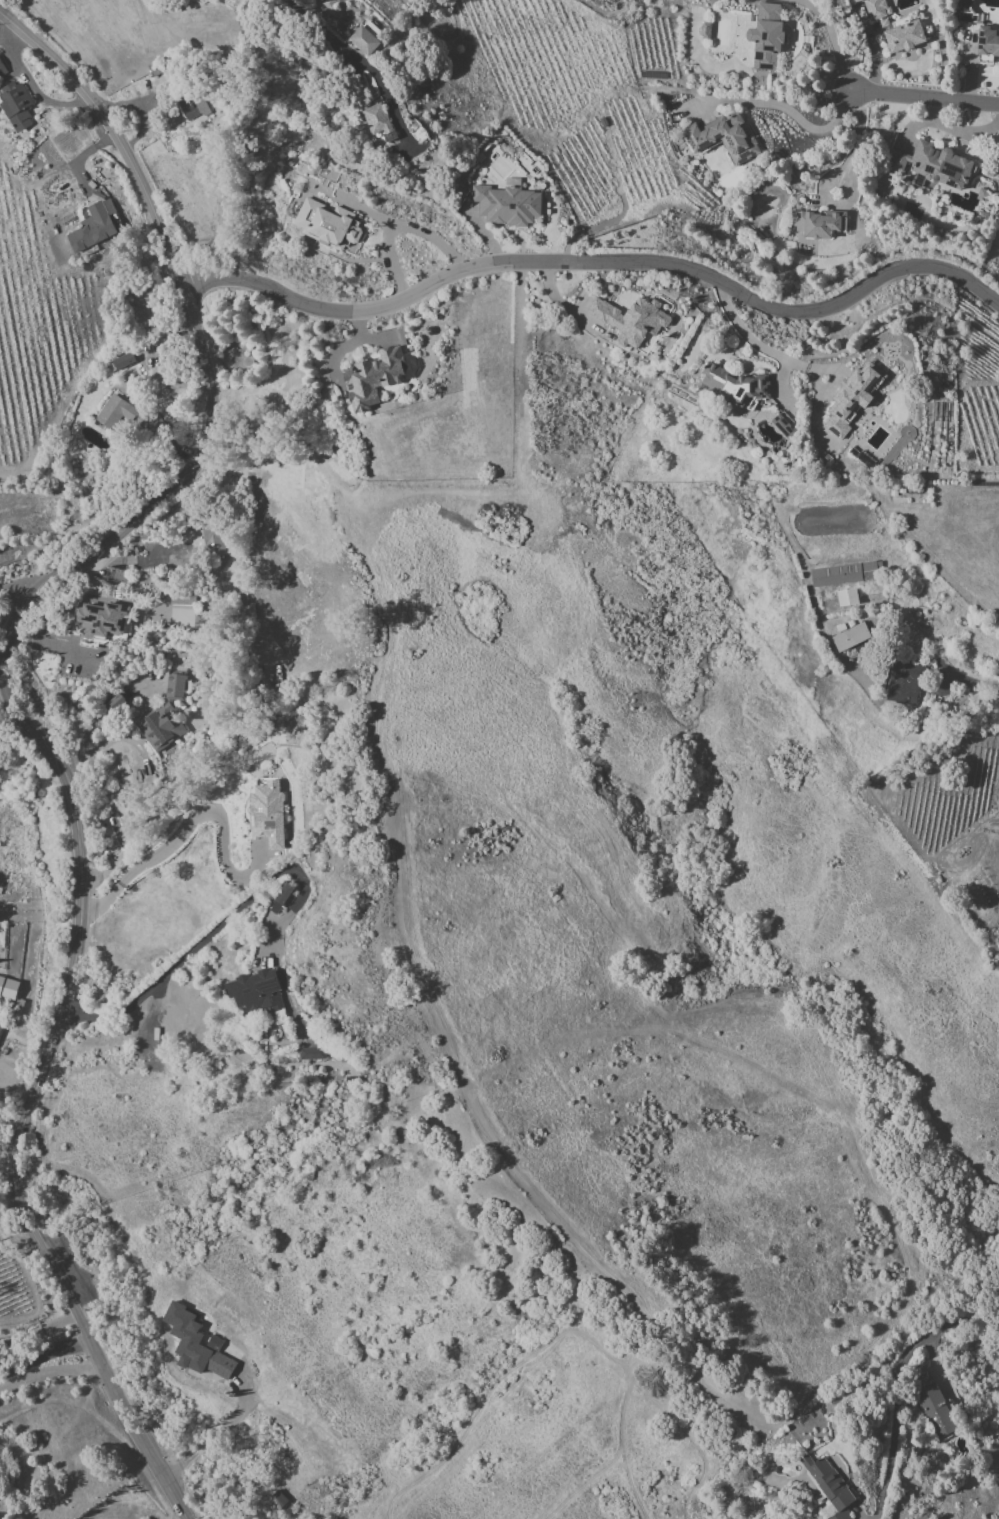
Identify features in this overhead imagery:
building: (872, 8)
road: (419, 29)
building: (980, 31)
building: (766, 35)
building: (904, 36)
building: (364, 40)
road: (340, 42)
road: (873, 55)
road: (969, 69)
road: (30, 83)
road: (925, 101)
building: (15, 107)
building: (193, 107)
road: (931, 112)
building: (376, 119)
road: (833, 120)
road: (946, 127)
building: (726, 139)
road: (851, 148)
building: (933, 165)
building: (506, 205)
road: (365, 212)
building: (326, 223)
building: (822, 223)
road: (391, 225)
building: (93, 228)
road: (596, 260)
building: (631, 319)
crop: (37, 322)
road: (741, 328)
building: (122, 360)
building: (372, 378)
building: (734, 385)
building: (852, 397)
building: (110, 412)
building: (783, 426)
building: (846, 573)
road: (13, 591)
building: (846, 597)
building: (102, 619)
building: (53, 638)
building: (851, 638)
building: (903, 683)
road: (2, 690)
road: (978, 701)
road: (23, 718)
building: (159, 726)
road: (146, 783)
road: (184, 829)
building: (280, 898)
road: (205, 937)
building: (8, 987)
building: (254, 991)
building: (0, 1025)
building: (311, 1053)
road: (38, 1332)
building: (188, 1338)
road: (41, 1351)
road: (896, 1385)
building: (934, 1410)
road: (233, 1419)
road: (200, 1448)
road: (177, 1464)
building: (828, 1488)
road: (140, 1504)

